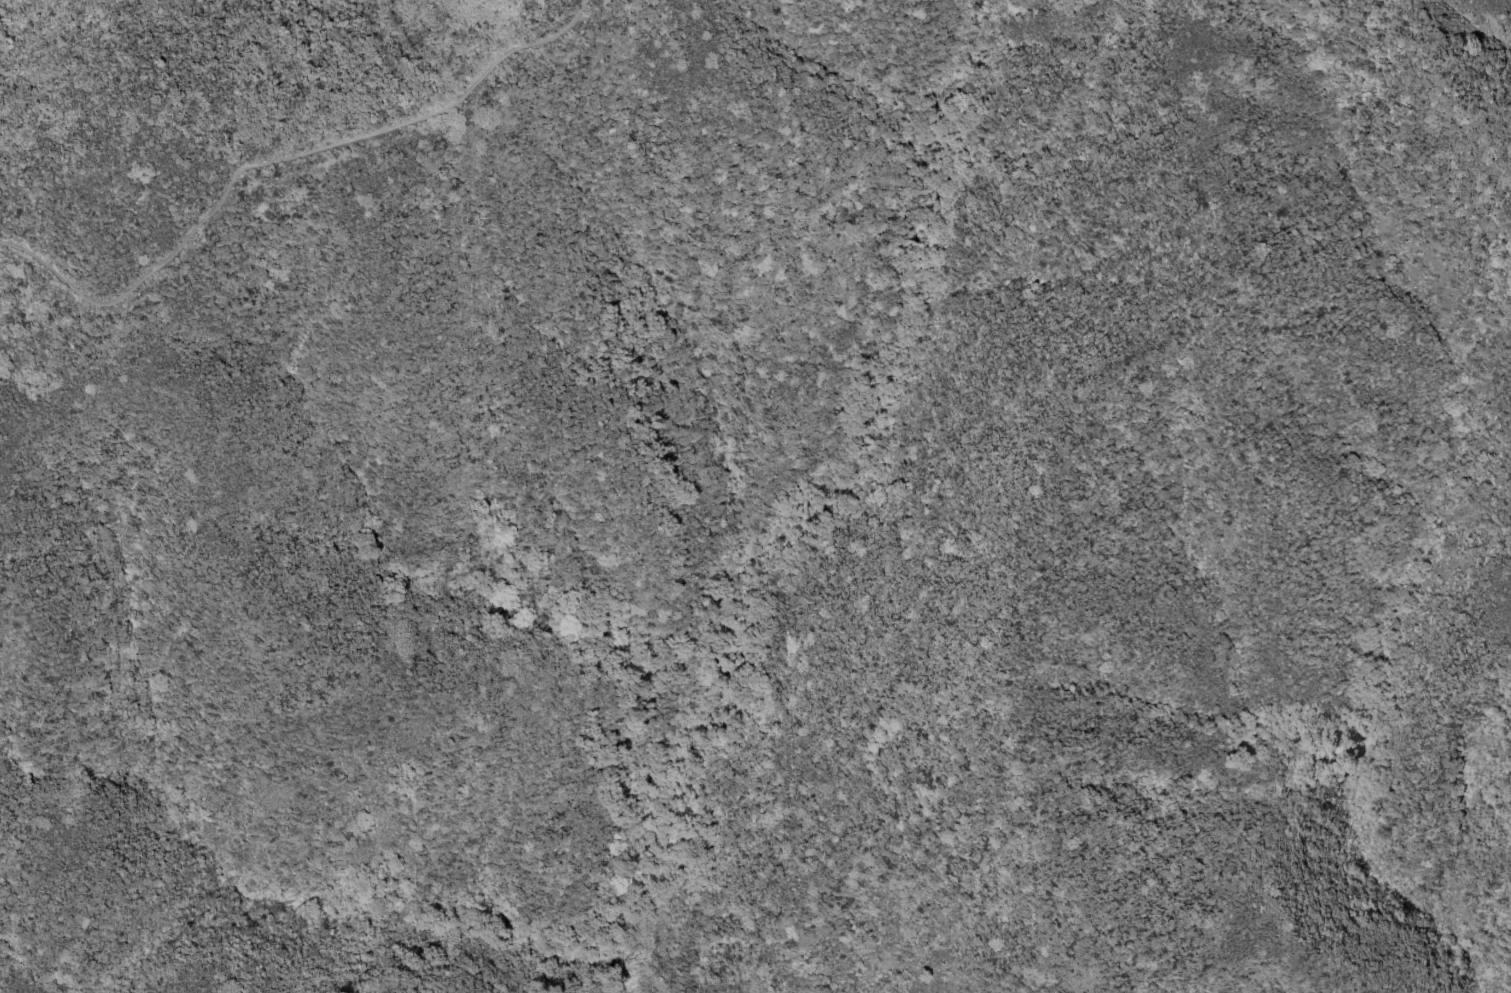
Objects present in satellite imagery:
road: (278, 156)

